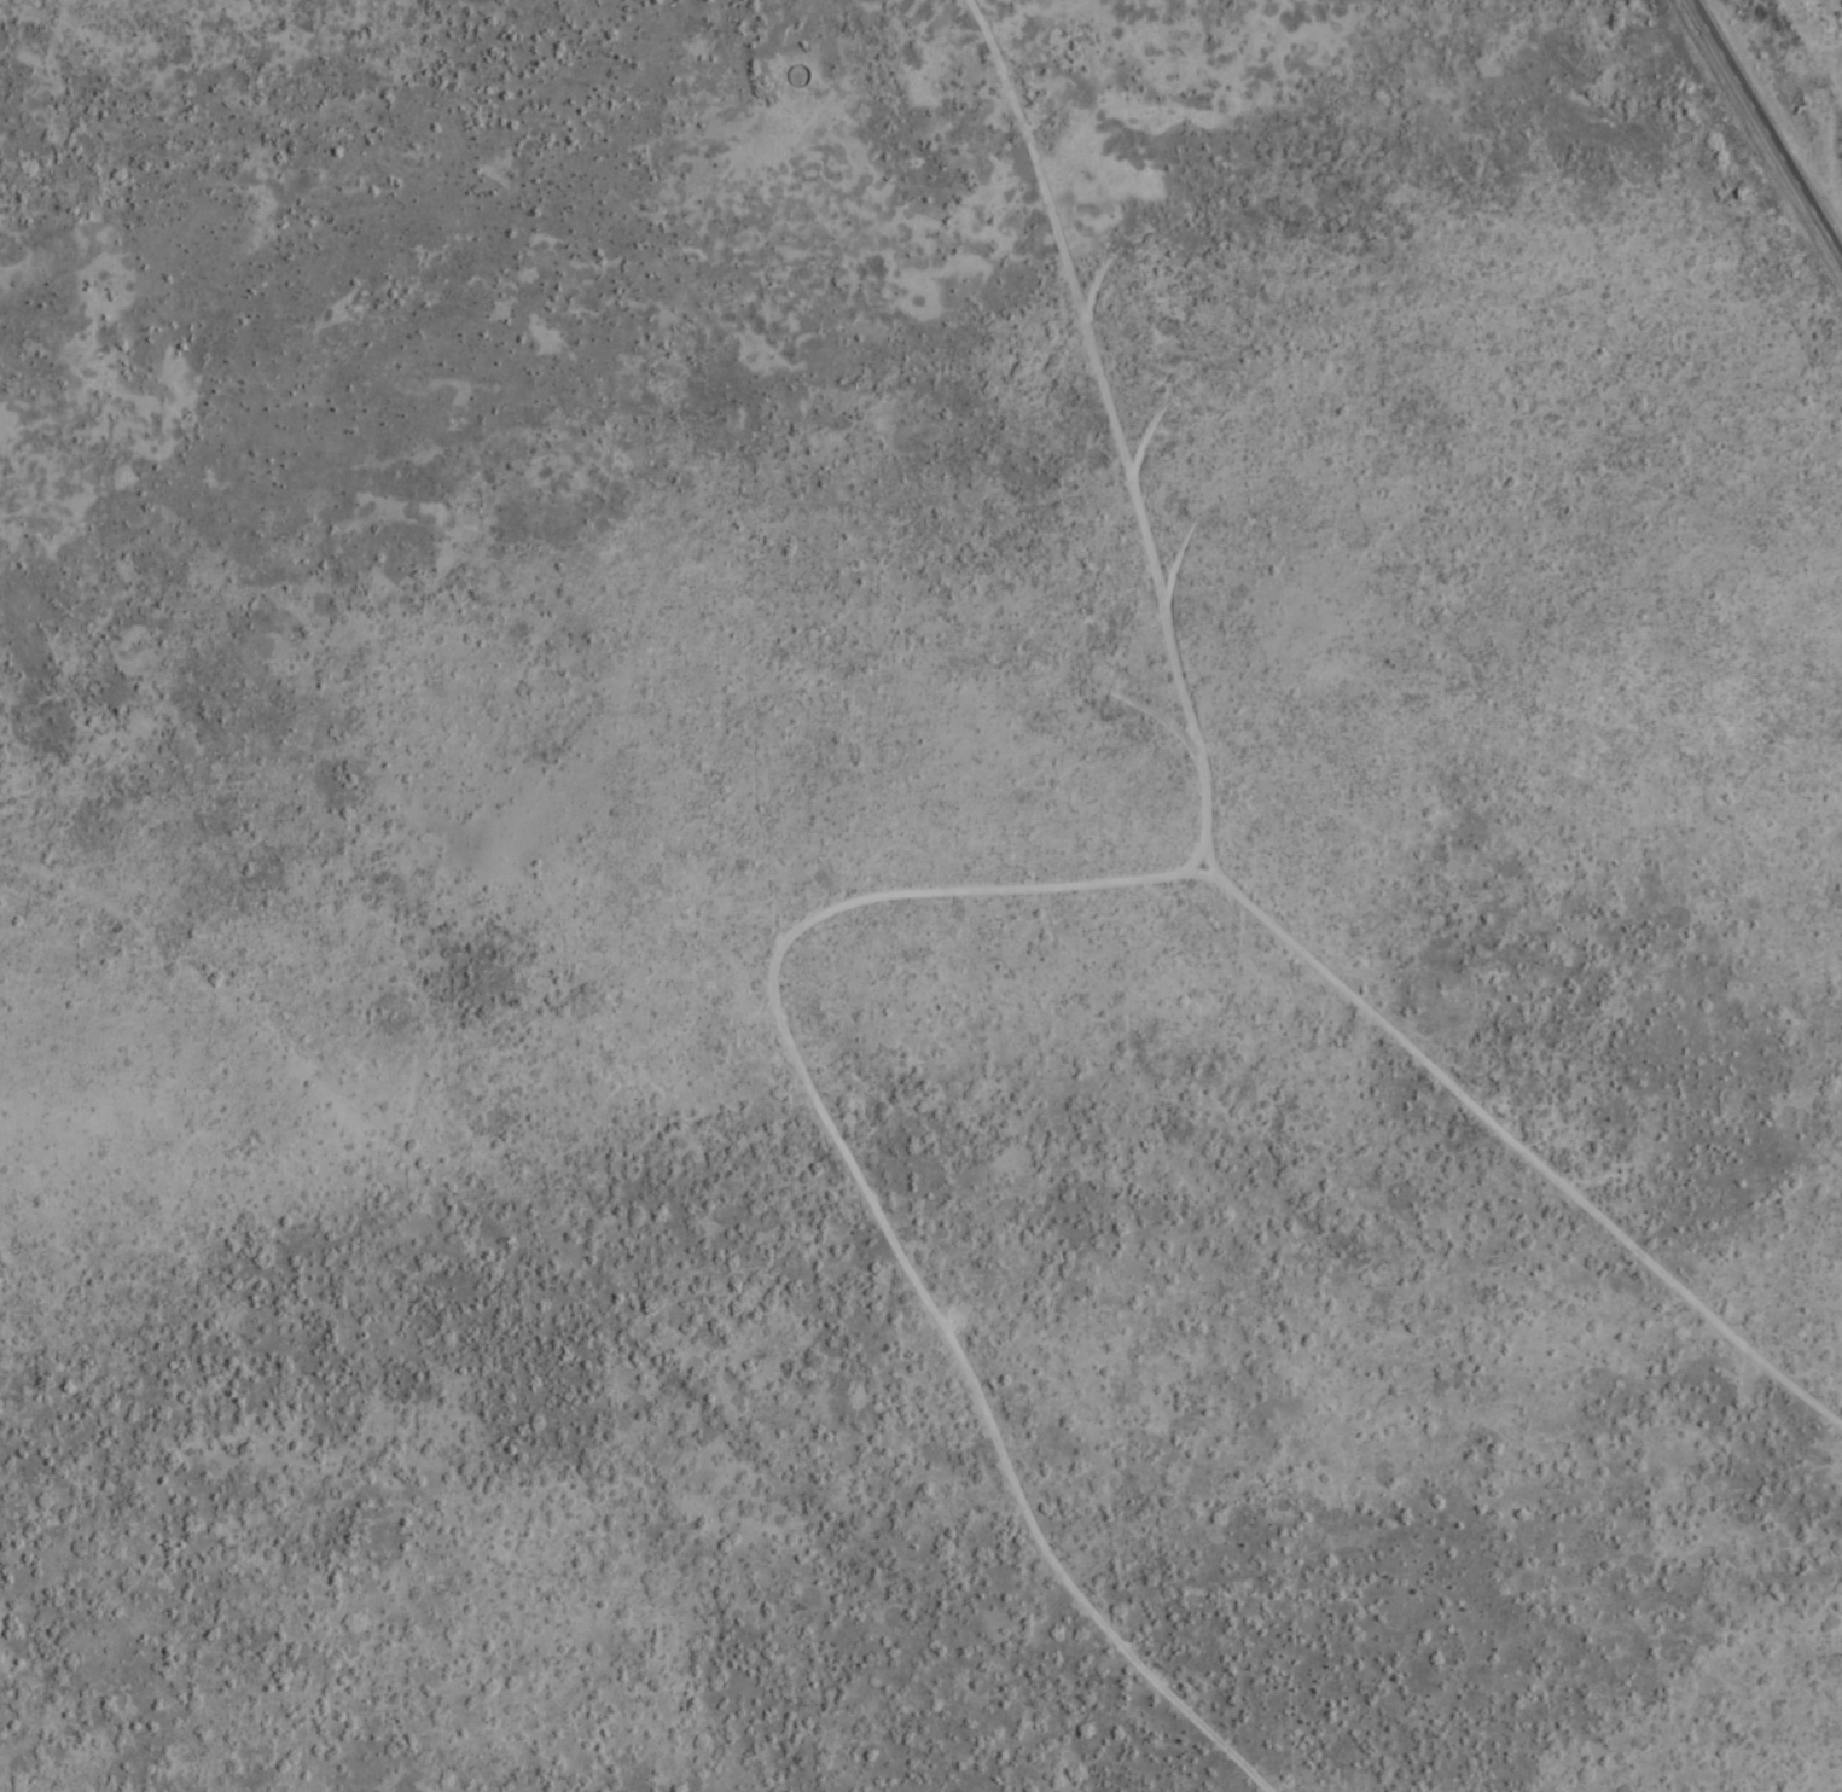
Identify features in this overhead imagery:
road: (1765, 130)

